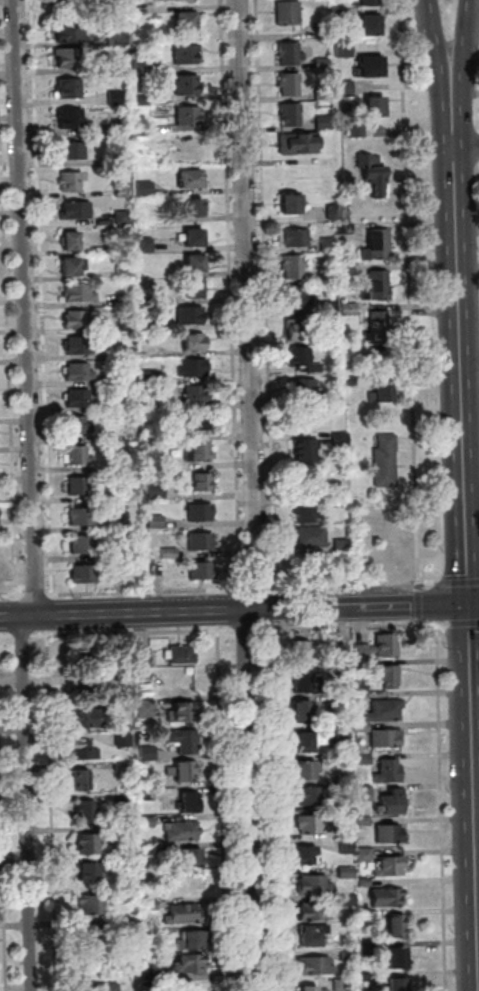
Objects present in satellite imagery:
building: (65, 0)
building: (370, 3)
building: (289, 14)
building: (344, 15)
building: (187, 18)
building: (370, 27)
building: (326, 31)
building: (69, 32)
building: (117, 36)
road: (438, 37)
road: (466, 37)
building: (345, 50)
building: (188, 52)
building: (288, 54)
building: (67, 56)
building: (322, 63)
building: (141, 67)
building: (372, 69)
building: (118, 70)
building: (187, 82)
building: (289, 83)
building: (69, 86)
building: (345, 89)
building: (322, 94)
building: (116, 97)
building: (141, 99)
building: (375, 105)
building: (189, 113)
building: (290, 114)
building: (72, 117)
building: (324, 122)
building: (119, 129)
building: (143, 130)
building: (357, 130)
building: (298, 143)
road: (466, 147)
building: (74, 149)
building: (108, 160)
building: (373, 172)
building: (191, 176)
building: (71, 180)
building: (145, 187)
building: (122, 191)
building: (291, 202)
building: (194, 204)
building: (77, 208)
building: (335, 213)
building: (123, 216)
building: (345, 229)
building: (195, 234)
building: (71, 238)
building: (296, 238)
building: (146, 244)
building: (328, 245)
building: (377, 245)
building: (196, 260)
building: (74, 263)
building: (293, 267)
building: (347, 270)
building: (125, 271)
building: (329, 275)
building: (195, 286)
building: (377, 286)
building: (80, 292)
road: (411, 292)
road: (231, 296)
road: (267, 296)
building: (127, 298)
building: (295, 298)
road: (27, 307)
building: (331, 307)
building: (349, 310)
building: (191, 314)
building: (78, 318)
building: (129, 324)
building: (150, 326)
building: (380, 327)
building: (298, 331)
building: (332, 338)
road: (460, 338)
building: (195, 340)
building: (79, 344)
building: (350, 352)
building: (129, 353)
building: (303, 358)
building: (382, 360)
building: (194, 366)
building: (79, 371)
building: (150, 376)
building: (131, 379)
building: (349, 380)
building: (302, 388)
building: (383, 392)
building: (198, 393)
building: (79, 397)
building: (334, 397)
building: (201, 419)
building: (78, 424)
building: (342, 440)
building: (198, 450)
building: (304, 453)
building: (78, 455)
building: (385, 460)
building: (164, 465)
building: (203, 480)
building: (78, 484)
building: (157, 490)
road: (254, 496)
building: (340, 503)
building: (201, 511)
building: (308, 513)
building: (82, 515)
building: (157, 521)
building: (312, 535)
building: (202, 540)
building: (84, 544)
building: (343, 544)
building: (121, 552)
building: (170, 552)
road: (50, 560)
road: (15, 565)
building: (203, 569)
building: (84, 572)
road: (458, 582)
road: (354, 586)
road: (258, 588)
road: (146, 590)
road: (11, 592)
road: (34, 592)
road: (435, 602)
road: (474, 603)
traffic signals: (469, 604)
road: (272, 606)
road: (229, 608)
road: (234, 610)
road: (8, 613)
road: (49, 613)
road: (460, 624)
road: (346, 625)
road: (244, 630)
road: (133, 634)
road: (7, 637)
road: (23, 637)
building: (380, 647)
building: (302, 651)
building: (344, 652)
building: (183, 653)
building: (143, 656)
building: (341, 671)
building: (389, 677)
building: (307, 682)
building: (363, 684)
building: (342, 704)
building: (147, 708)
building: (385, 710)
building: (182, 712)
building: (303, 712)
building: (87, 717)
building: (358, 718)
building: (363, 728)
building: (343, 734)
building: (387, 737)
building: (124, 740)
building: (185, 740)
building: (313, 743)
building: (84, 751)
building: (148, 753)
building: (364, 760)
building: (122, 768)
building: (183, 771)
building: (305, 771)
building: (390, 772)
building: (347, 778)
road: (474, 779)
building: (83, 780)
building: (365, 793)
building: (147, 795)
building: (314, 795)
building: (128, 801)
building: (393, 801)
building: (191, 802)
road: (27, 803)
building: (348, 804)
road: (273, 805)
road: (442, 806)
road: (223, 808)
building: (87, 810)
road: (52, 811)
building: (364, 821)
building: (148, 823)
building: (313, 824)
building: (182, 831)
building: (345, 833)
road: (3, 834)
building: (390, 834)
building: (156, 839)
building: (128, 842)
building: (88, 844)
building: (349, 847)
building: (150, 850)
building: (366, 854)
building: (308, 855)
building: (192, 858)
building: (391, 866)
building: (89, 872)
building: (348, 872)
building: (366, 882)
building: (315, 885)
building: (128, 894)
building: (390, 897)
building: (349, 901)
building: (93, 904)
building: (151, 905)
building: (315, 912)
building: (185, 914)
building: (371, 916)
building: (131, 924)
building: (399, 926)
building: (88, 935)
building: (314, 935)
building: (192, 940)
building: (369, 948)
building: (350, 956)
building: (396, 958)
building: (192, 964)
building: (318, 966)
building: (370, 980)
building: (343, 985)
building: (398, 985)
building: (102, 987)
building: (312, 989)

